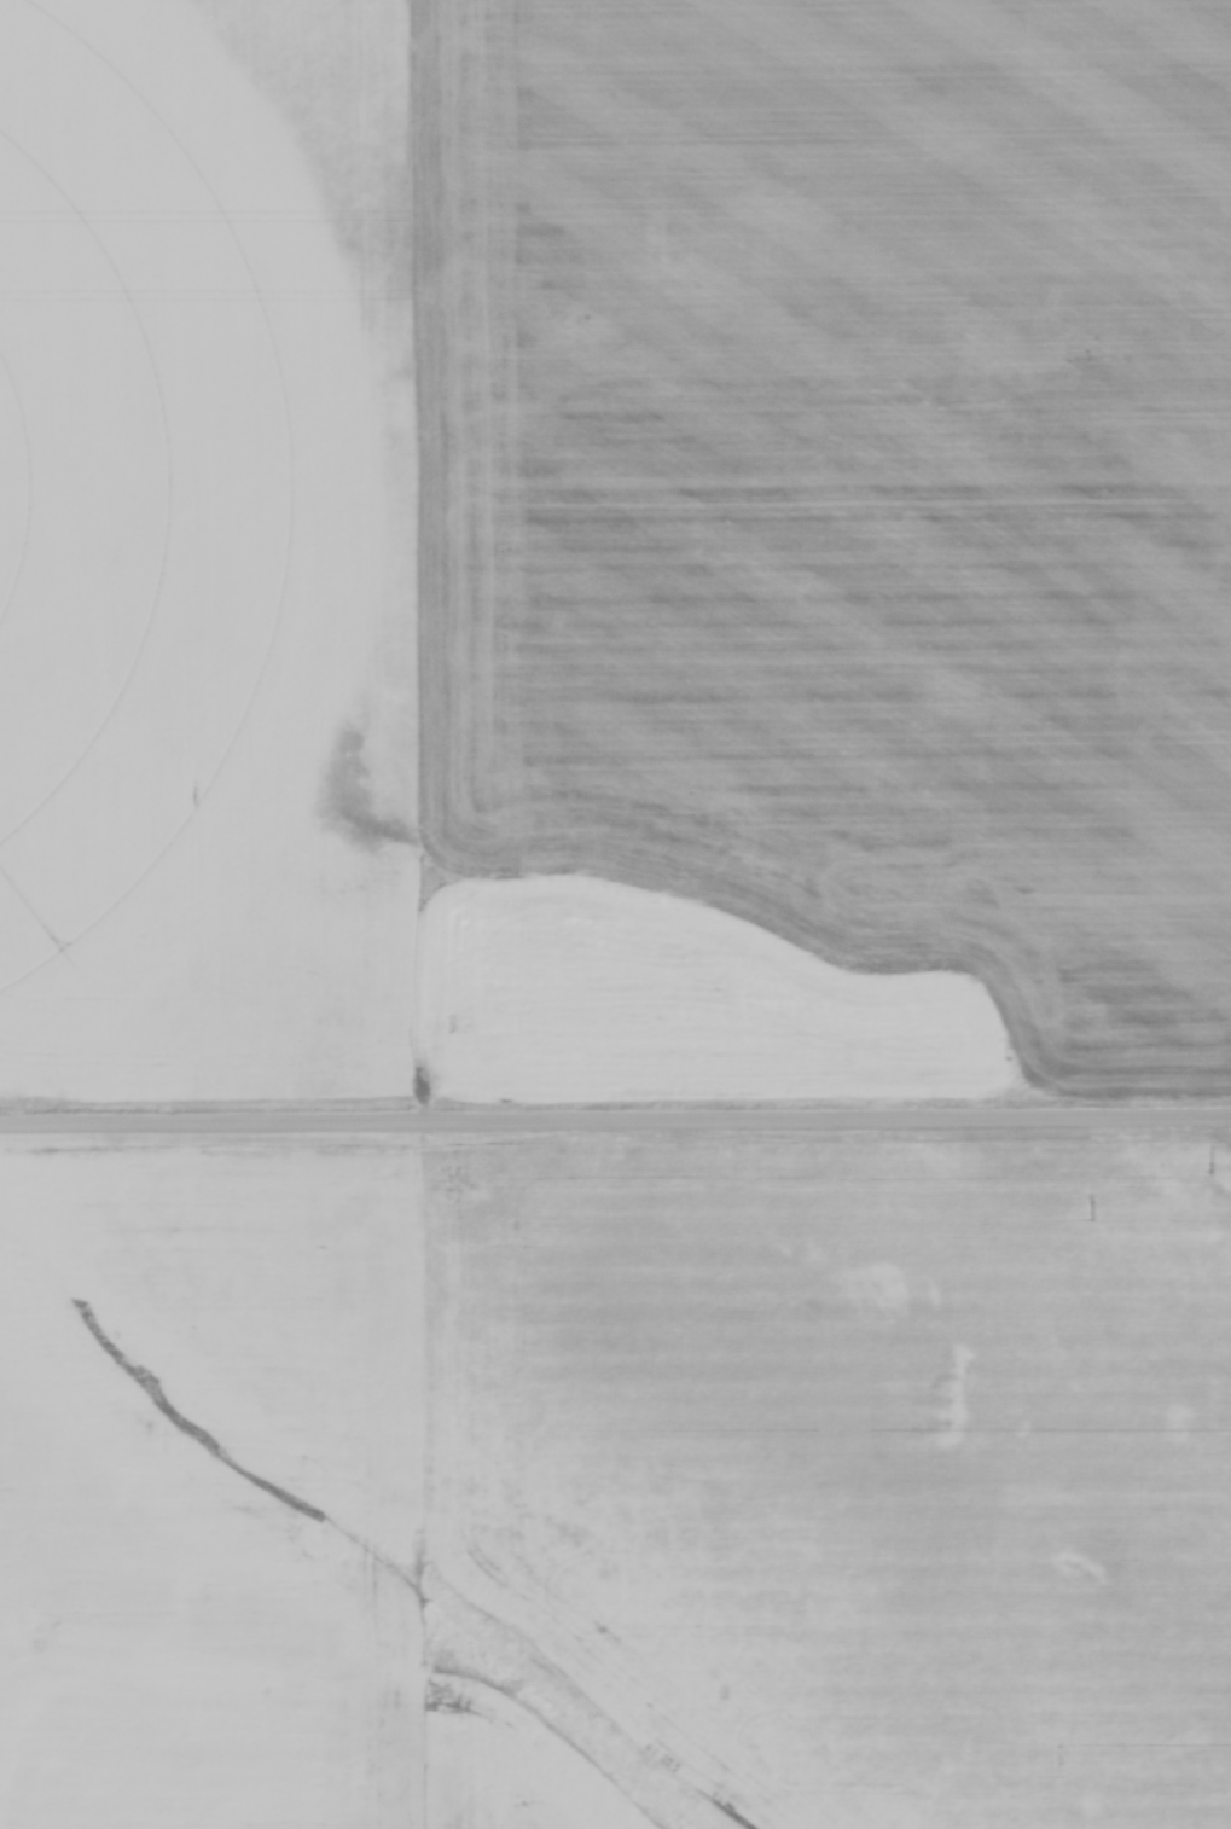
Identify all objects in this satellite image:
road: (615, 1123)

